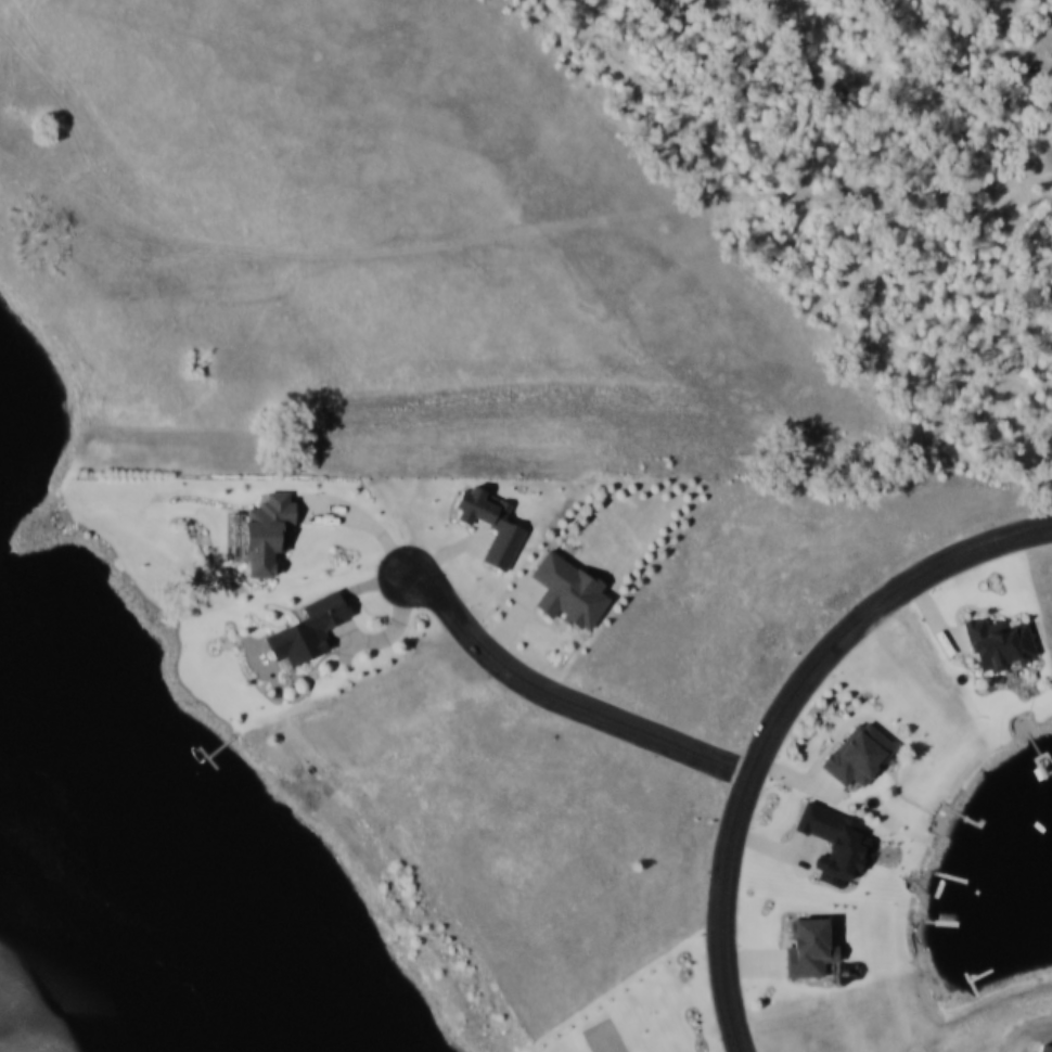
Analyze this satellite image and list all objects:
building: (266, 534)
building: (568, 593)
building: (304, 636)
building: (998, 644)
road: (560, 701)
road: (778, 718)
building: (858, 757)
river: (114, 906)

